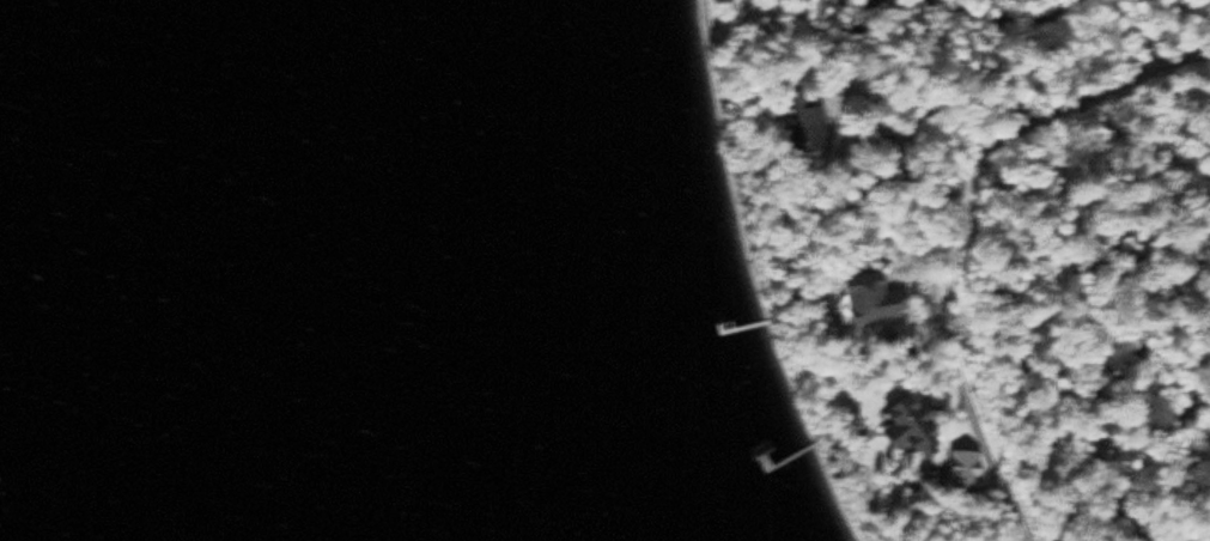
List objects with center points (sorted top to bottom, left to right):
road: (855, 0)
road: (935, 5)
road: (1009, 19)
building: (809, 128)
road: (955, 225)
building: (871, 296)
pier: (743, 324)
road: (914, 327)
road: (945, 417)
building: (911, 423)
road: (947, 434)
pier: (784, 454)

